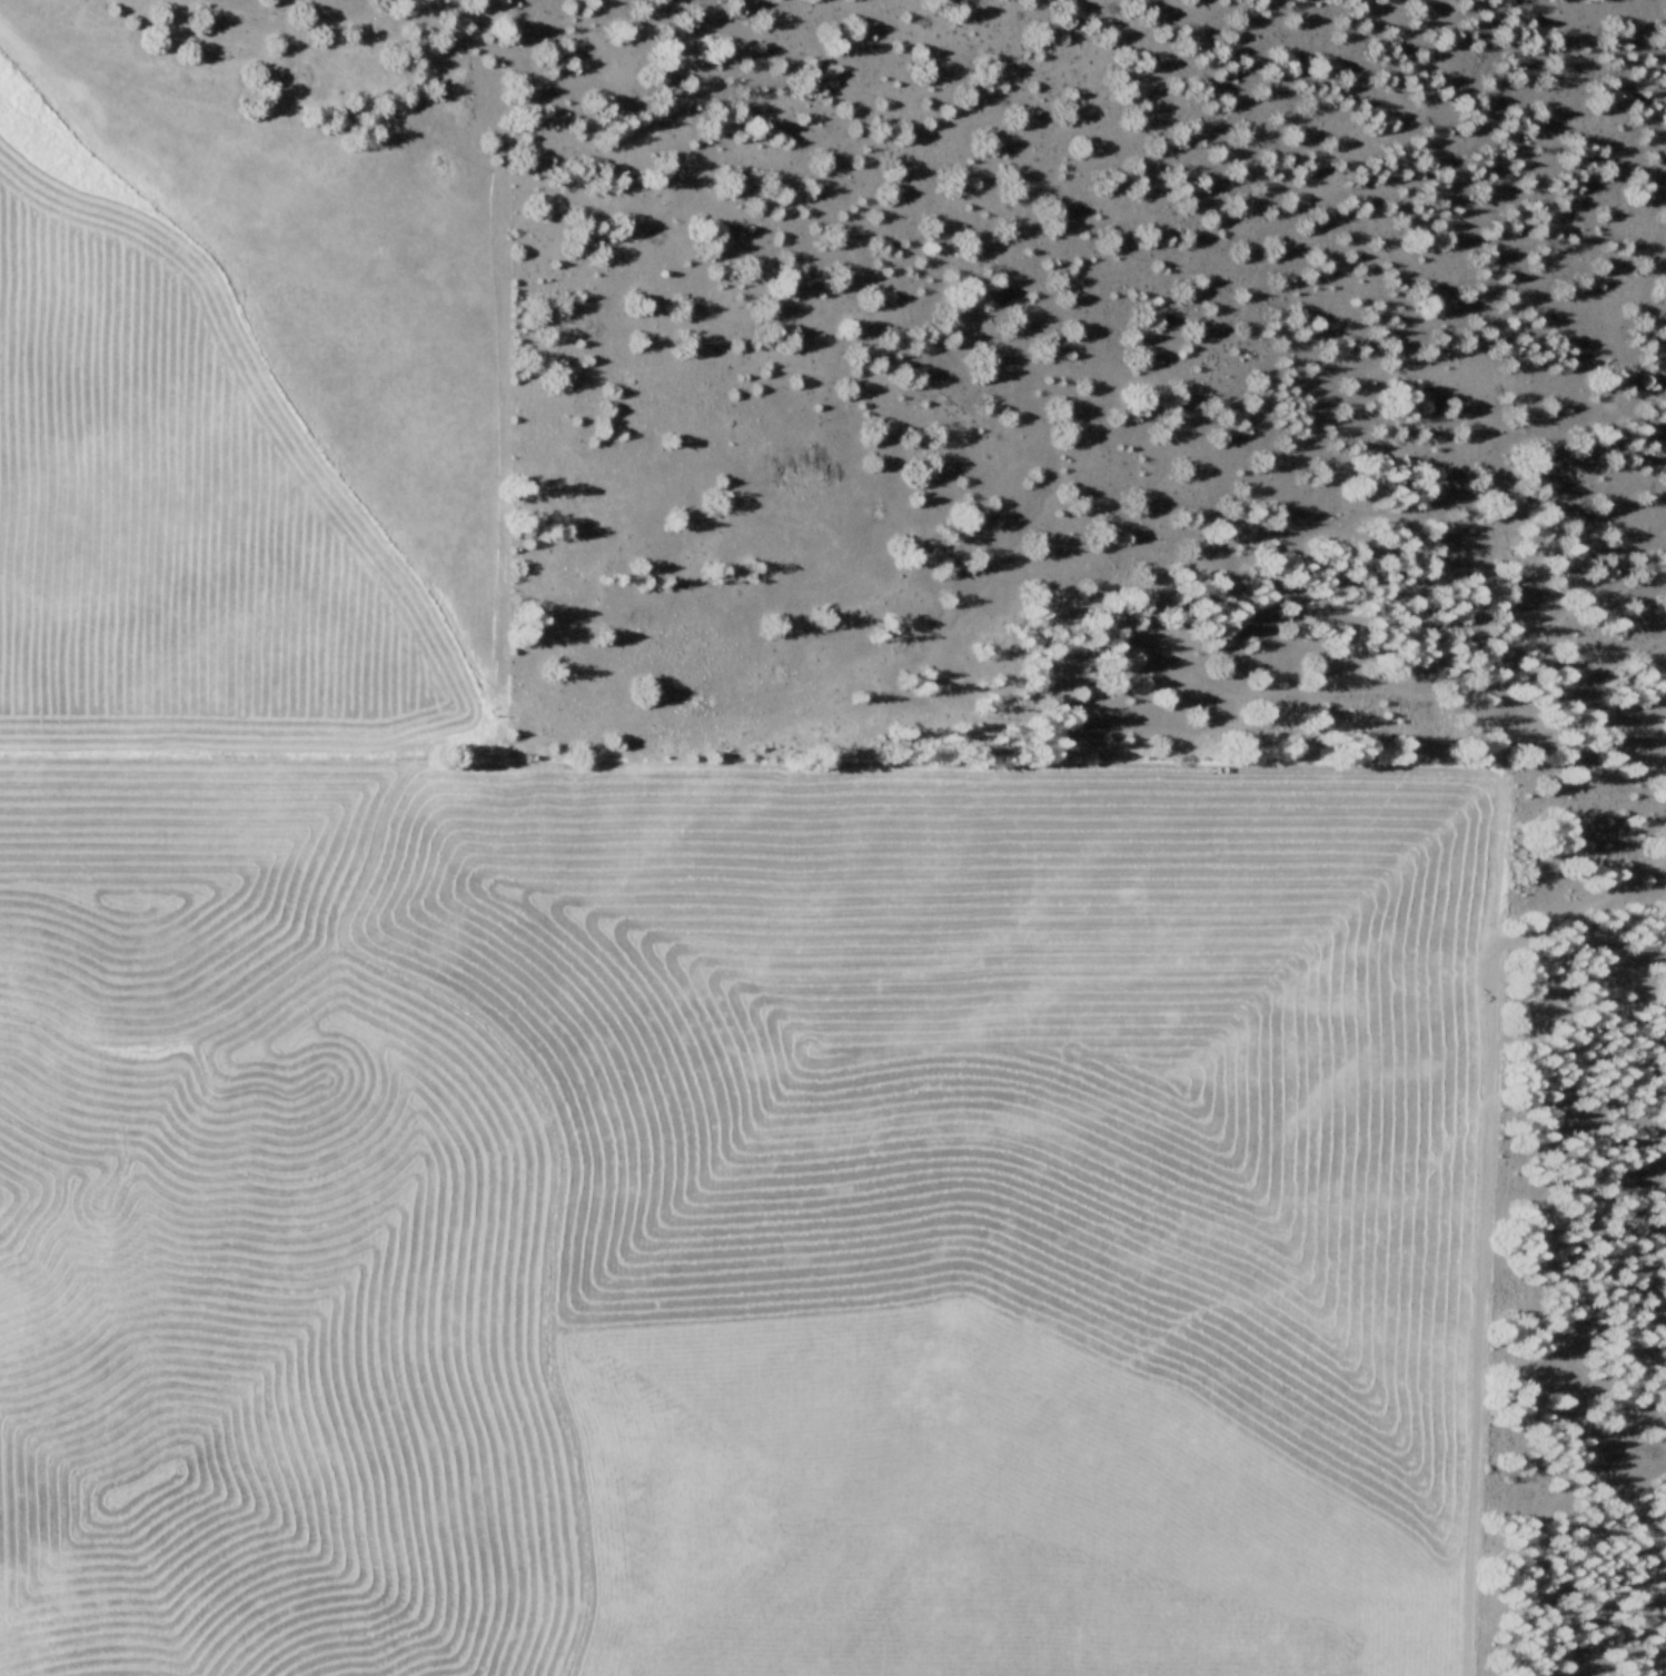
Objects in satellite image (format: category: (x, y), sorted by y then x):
road: (1571, 904)

